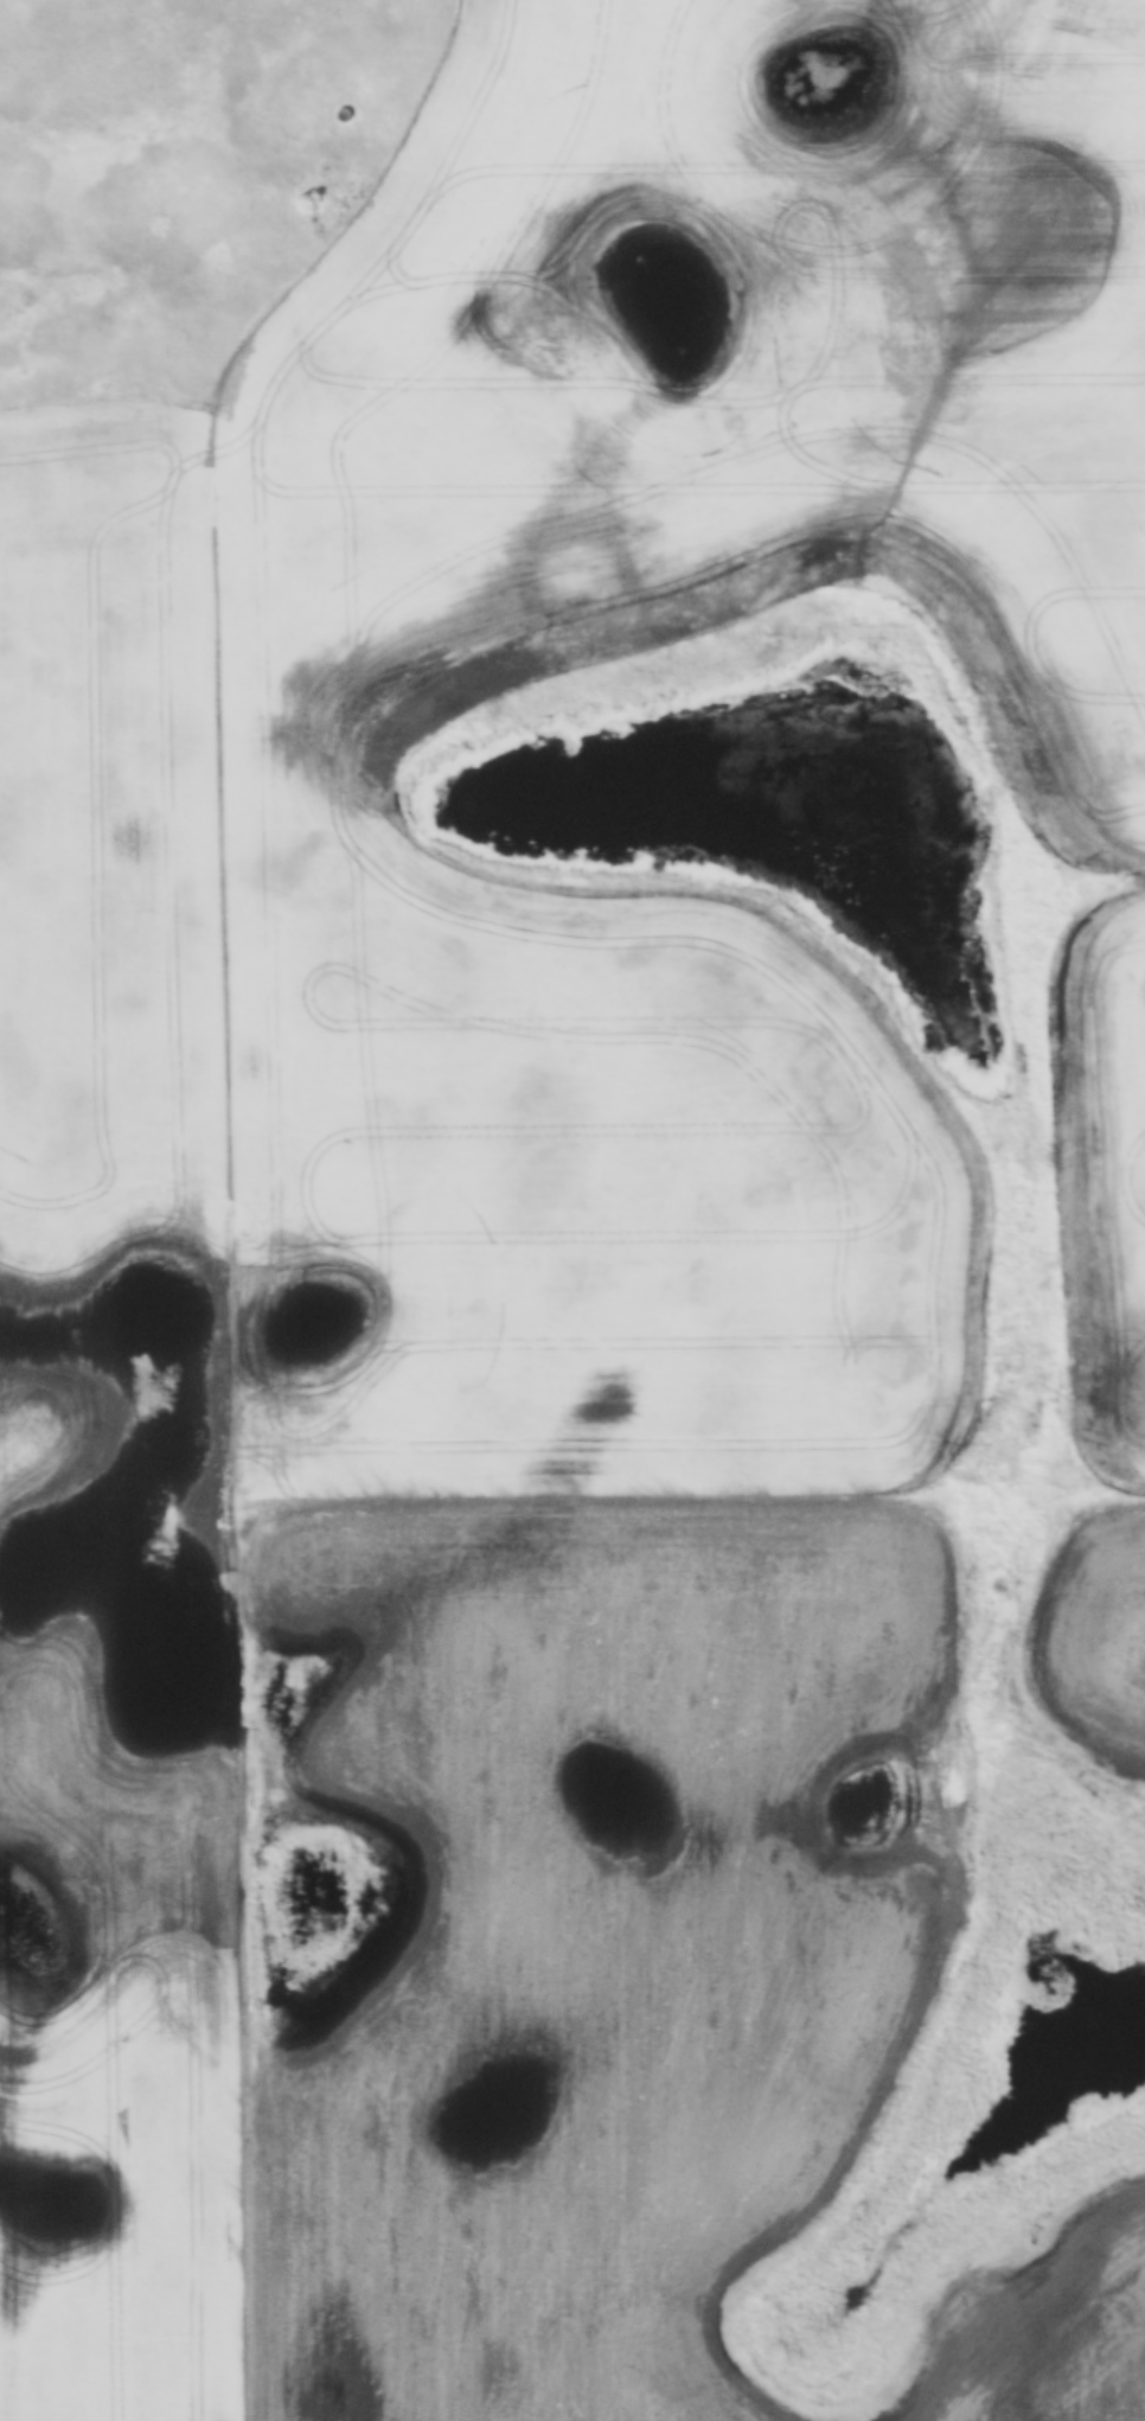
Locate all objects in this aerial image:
road: (236, 1302)

